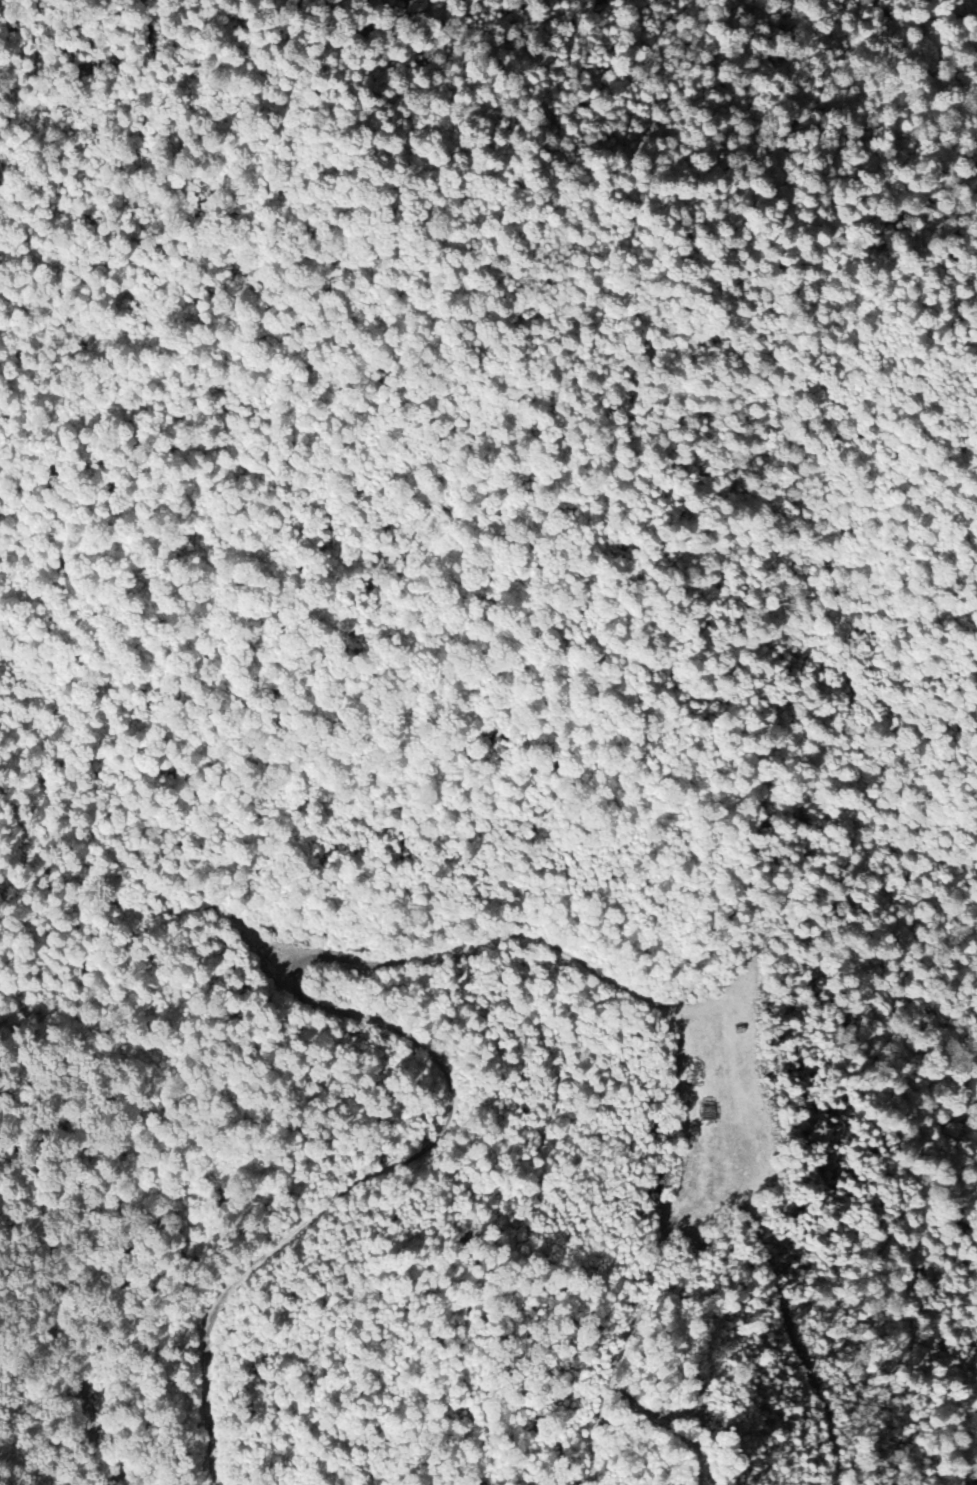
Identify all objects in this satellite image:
road: (422, 1045)

